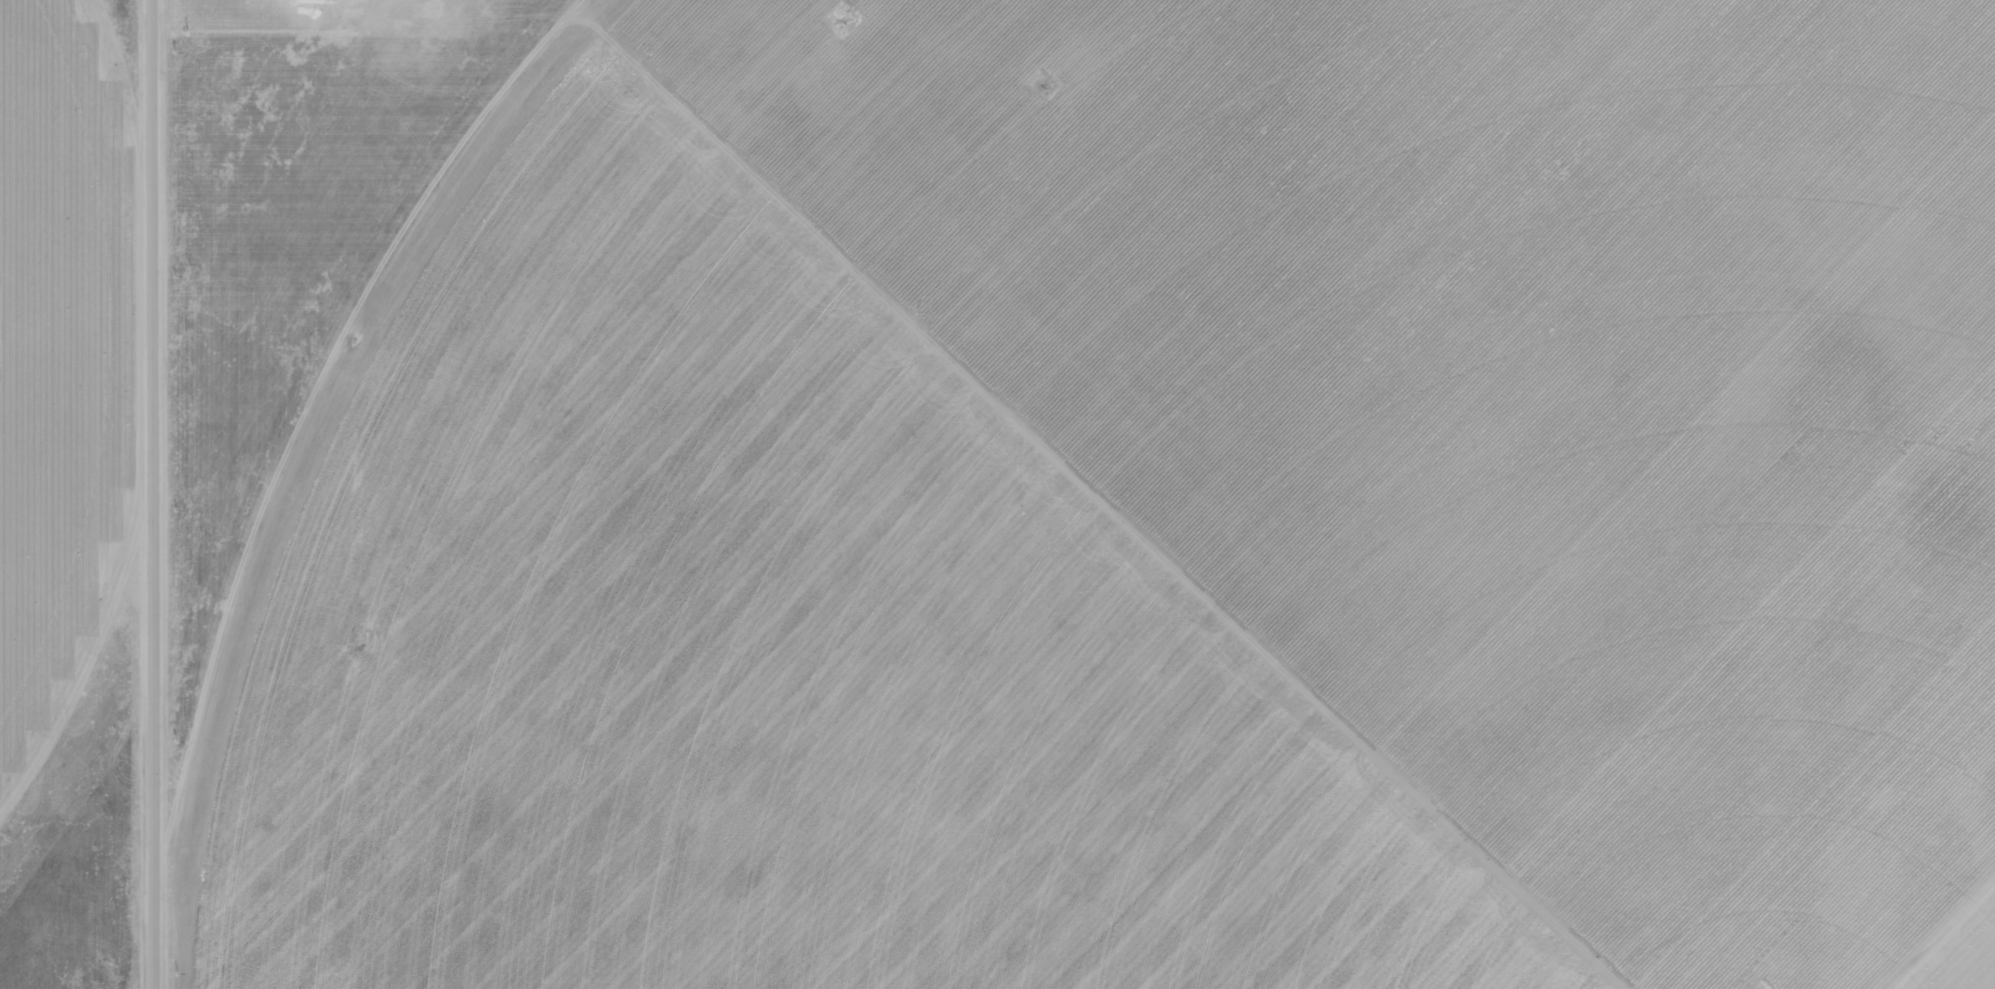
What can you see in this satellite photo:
road: (144, 494)

